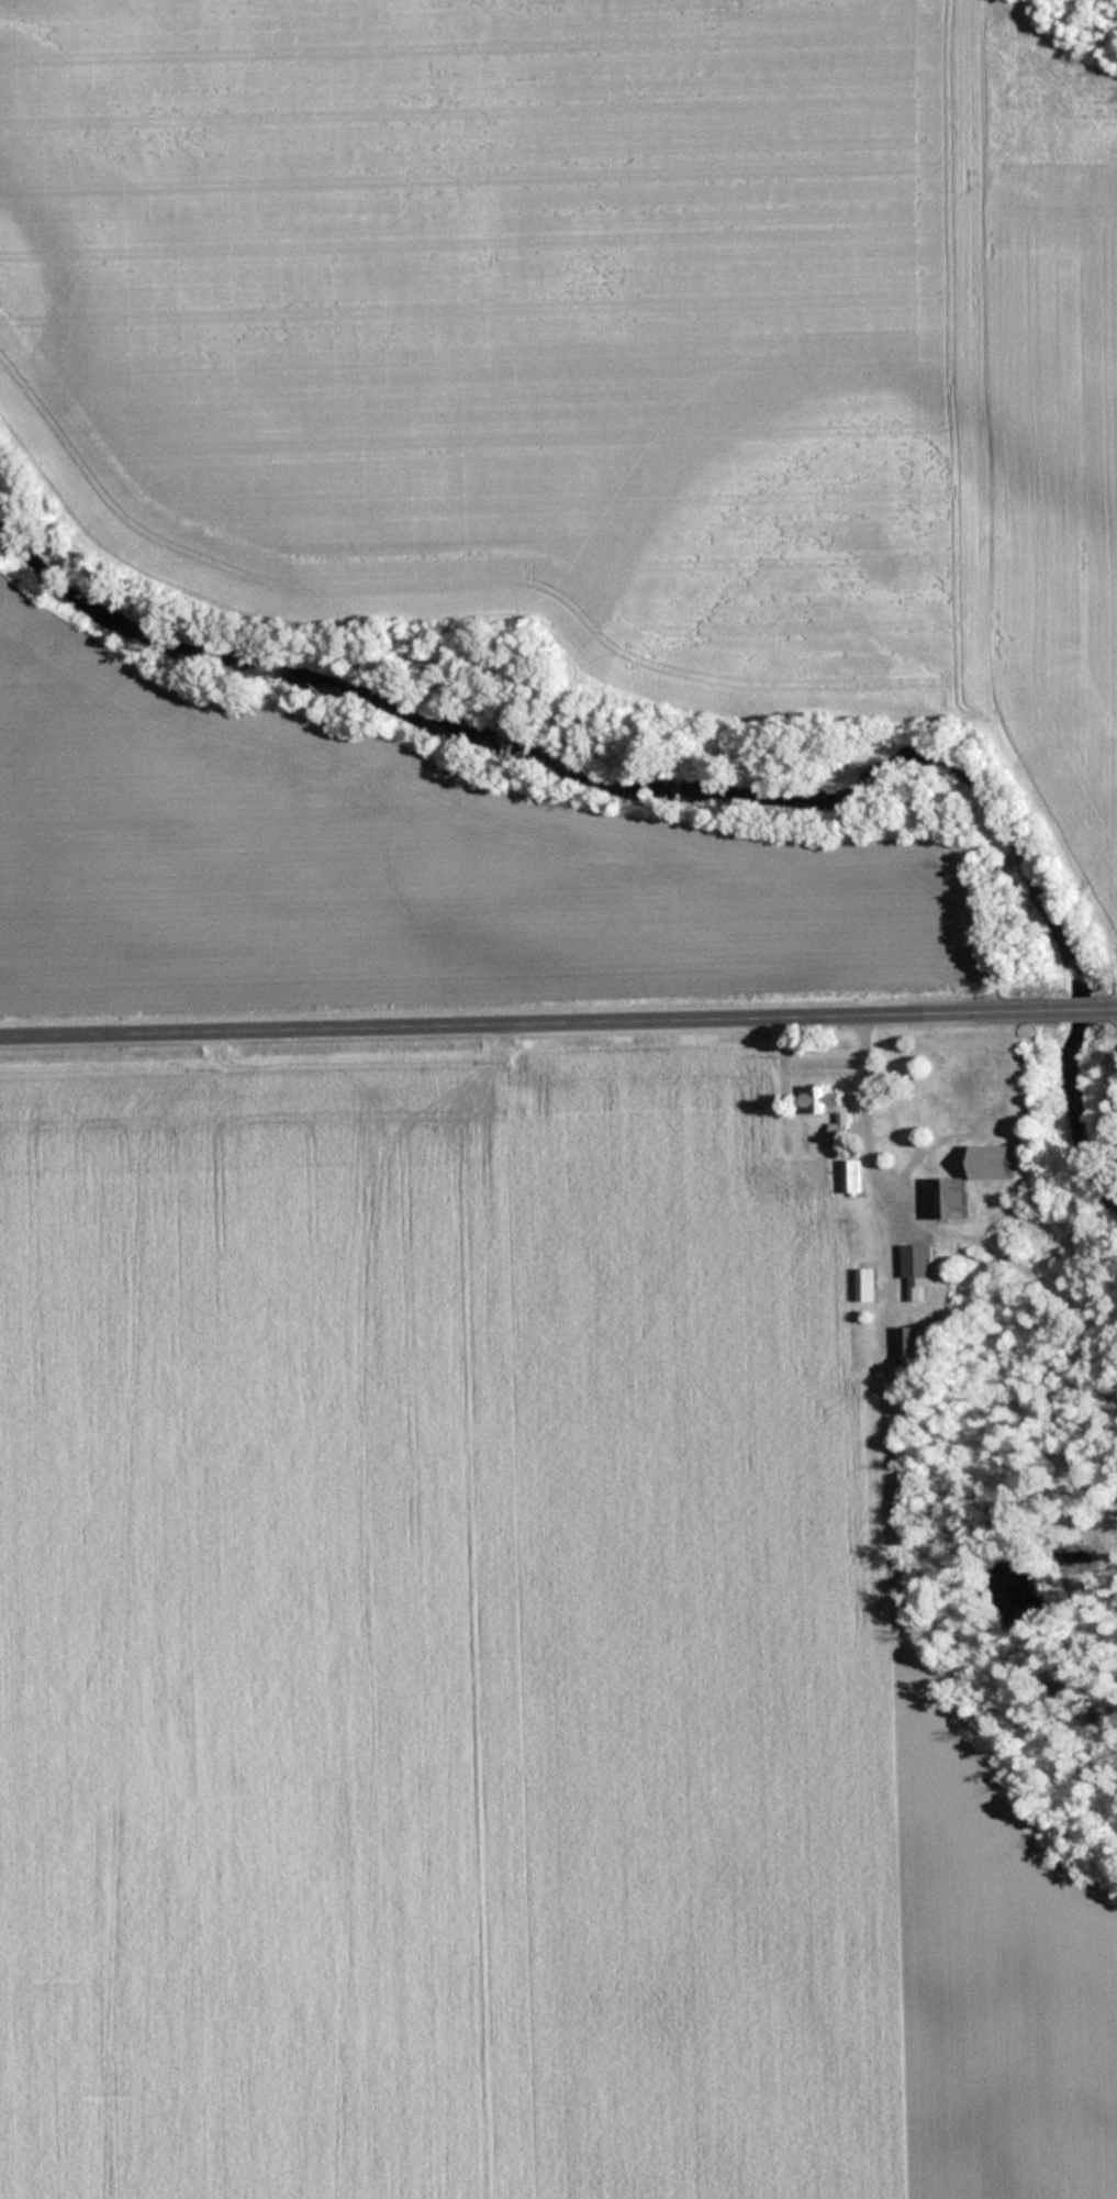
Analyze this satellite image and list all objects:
road: (558, 1022)
building: (829, 1108)
building: (993, 1163)
building: (852, 1177)
building: (950, 1199)
building: (919, 1270)
building: (868, 1285)
building: (909, 1345)

